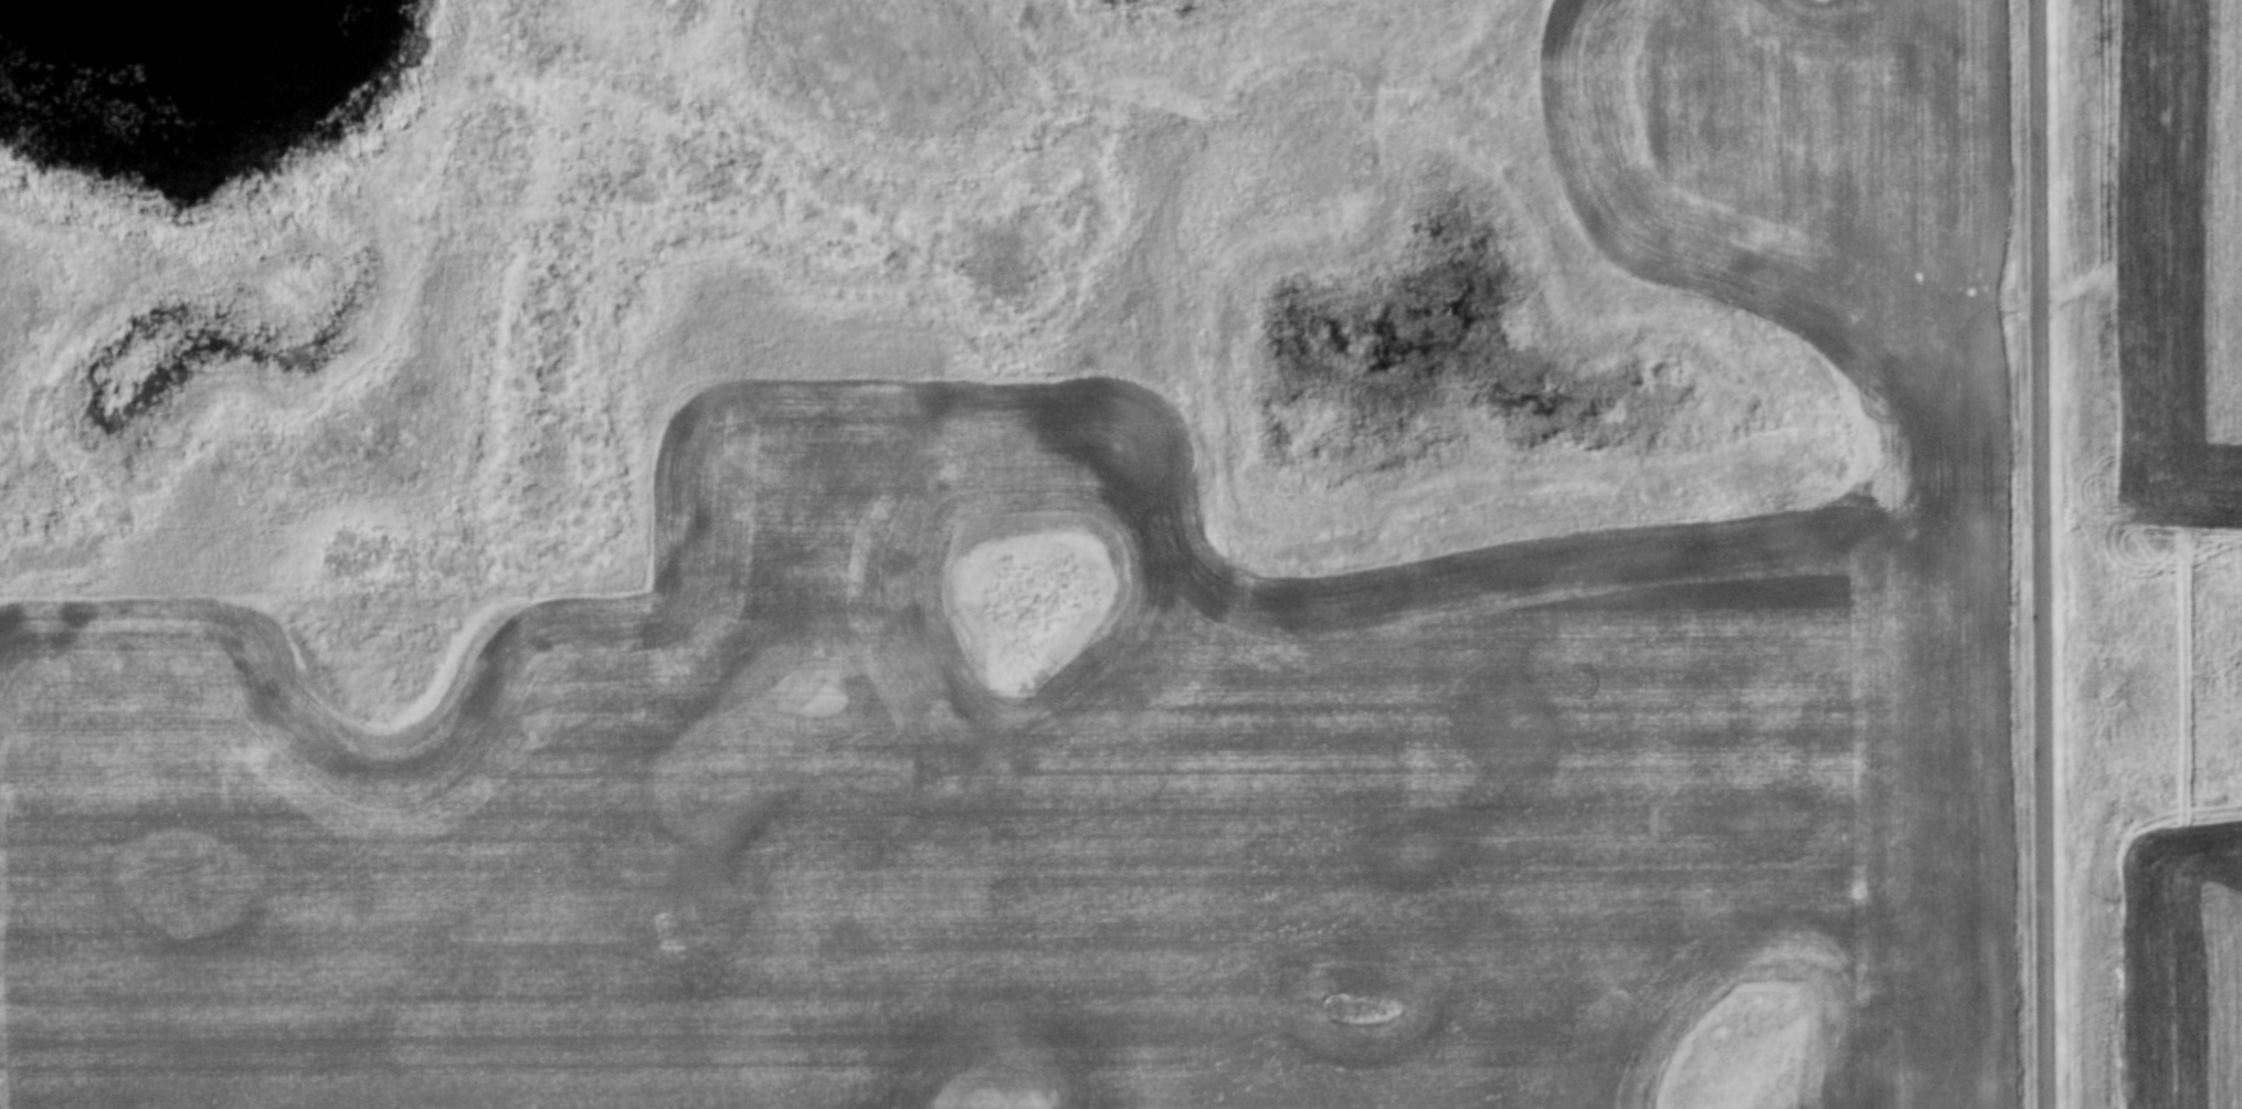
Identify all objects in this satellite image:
road: (2039, 554)

